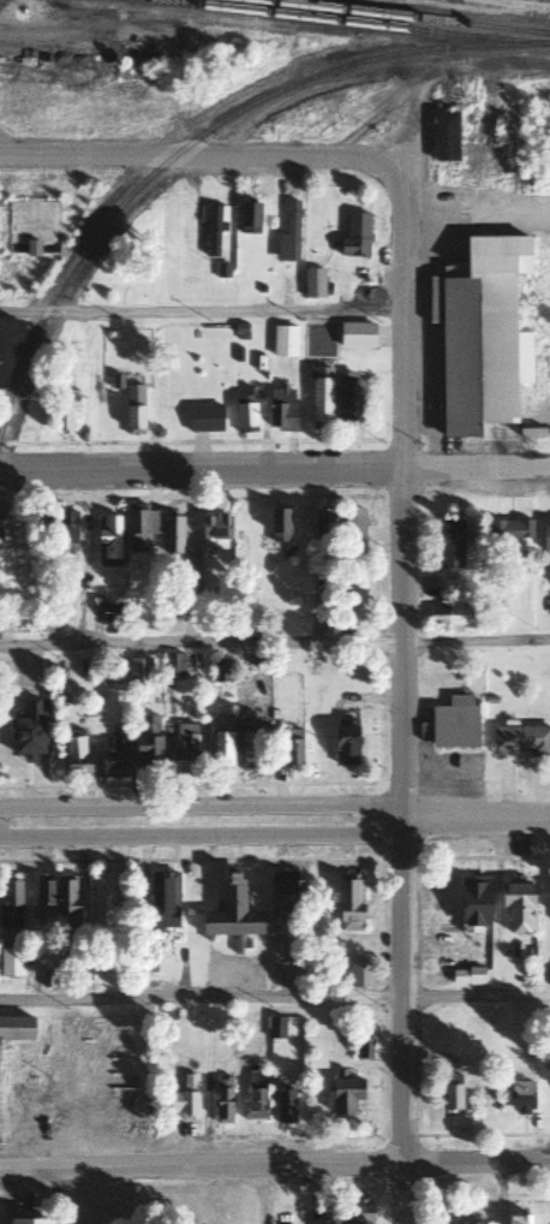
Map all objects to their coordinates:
railway: (402, 17)
railway: (348, 23)
road: (49, 34)
railway: (203, 133)
building: (444, 136)
road: (207, 156)
building: (249, 219)
building: (32, 227)
building: (214, 232)
building: (288, 236)
building: (355, 236)
building: (312, 283)
road: (205, 310)
building: (325, 334)
building: (357, 334)
building: (483, 338)
building: (283, 340)
building: (6, 357)
building: (319, 397)
building: (348, 398)
building: (133, 409)
building: (281, 410)
building: (546, 410)
building: (64, 411)
building: (187, 414)
building: (245, 417)
building: (30, 418)
road: (275, 469)
building: (324, 524)
building: (279, 525)
building: (215, 527)
building: (139, 530)
building: (509, 530)
building: (353, 533)
building: (65, 534)
building: (545, 535)
building: (172, 537)
building: (108, 545)
building: (449, 545)
building: (454, 617)
road: (275, 644)
building: (173, 666)
building: (220, 671)
building: (138, 675)
road: (400, 690)
building: (454, 727)
building: (29, 731)
building: (521, 741)
building: (221, 742)
building: (147, 744)
building: (345, 744)
building: (249, 748)
building: (184, 750)
building: (289, 750)
building: (74, 755)
building: (115, 757)
road: (201, 807)
road: (476, 816)
road: (202, 836)
building: (286, 895)
building: (66, 899)
building: (163, 902)
building: (474, 902)
building: (102, 903)
building: (10, 904)
building: (349, 904)
building: (518, 908)
building: (232, 913)
building: (11, 963)
building: (359, 973)
road: (275, 998)
building: (275, 1028)
building: (16, 1030)
building: (361, 1050)
building: (452, 1093)
building: (255, 1097)
building: (345, 1097)
building: (520, 1097)
building: (183, 1098)
building: (222, 1101)
building: (285, 1107)
road: (274, 1166)
building: (358, 1214)
building: (453, 1220)
building: (518, 1220)
building: (30, 1222)

